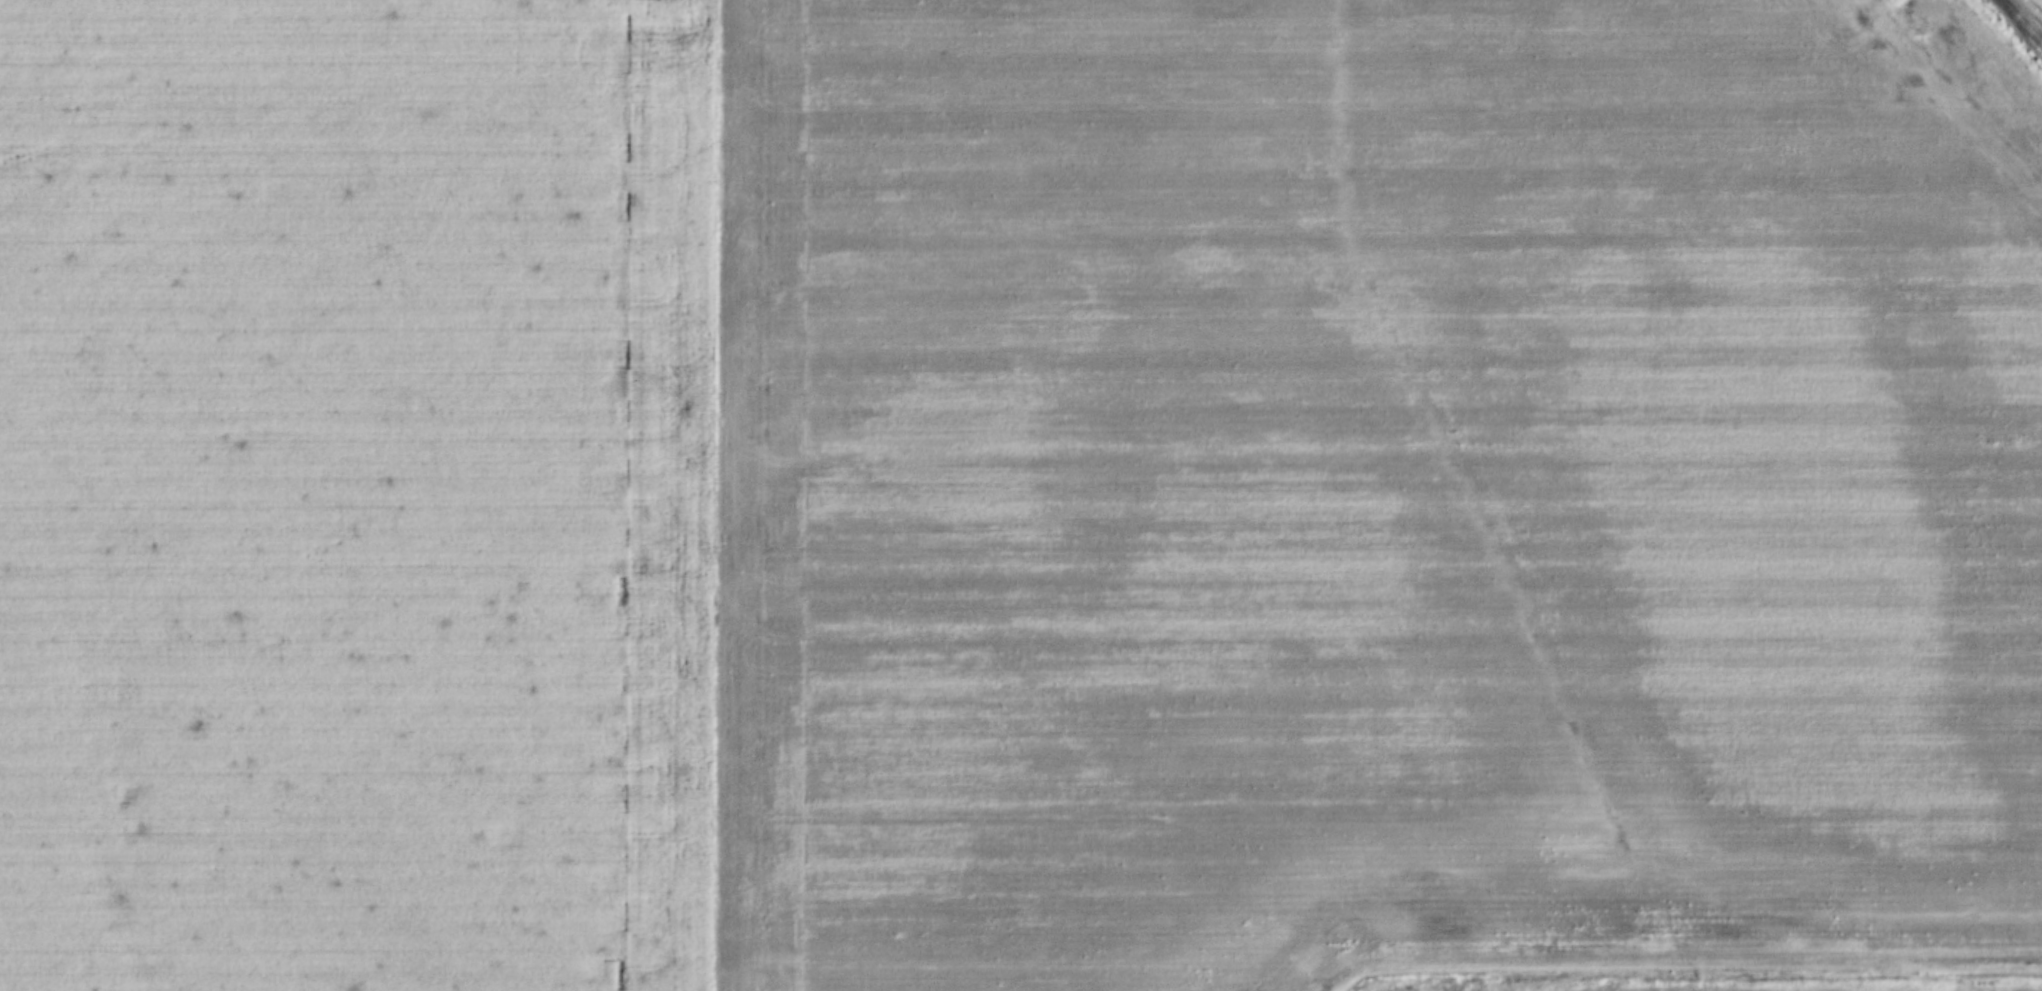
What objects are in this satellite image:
railway: (2020, 23)

